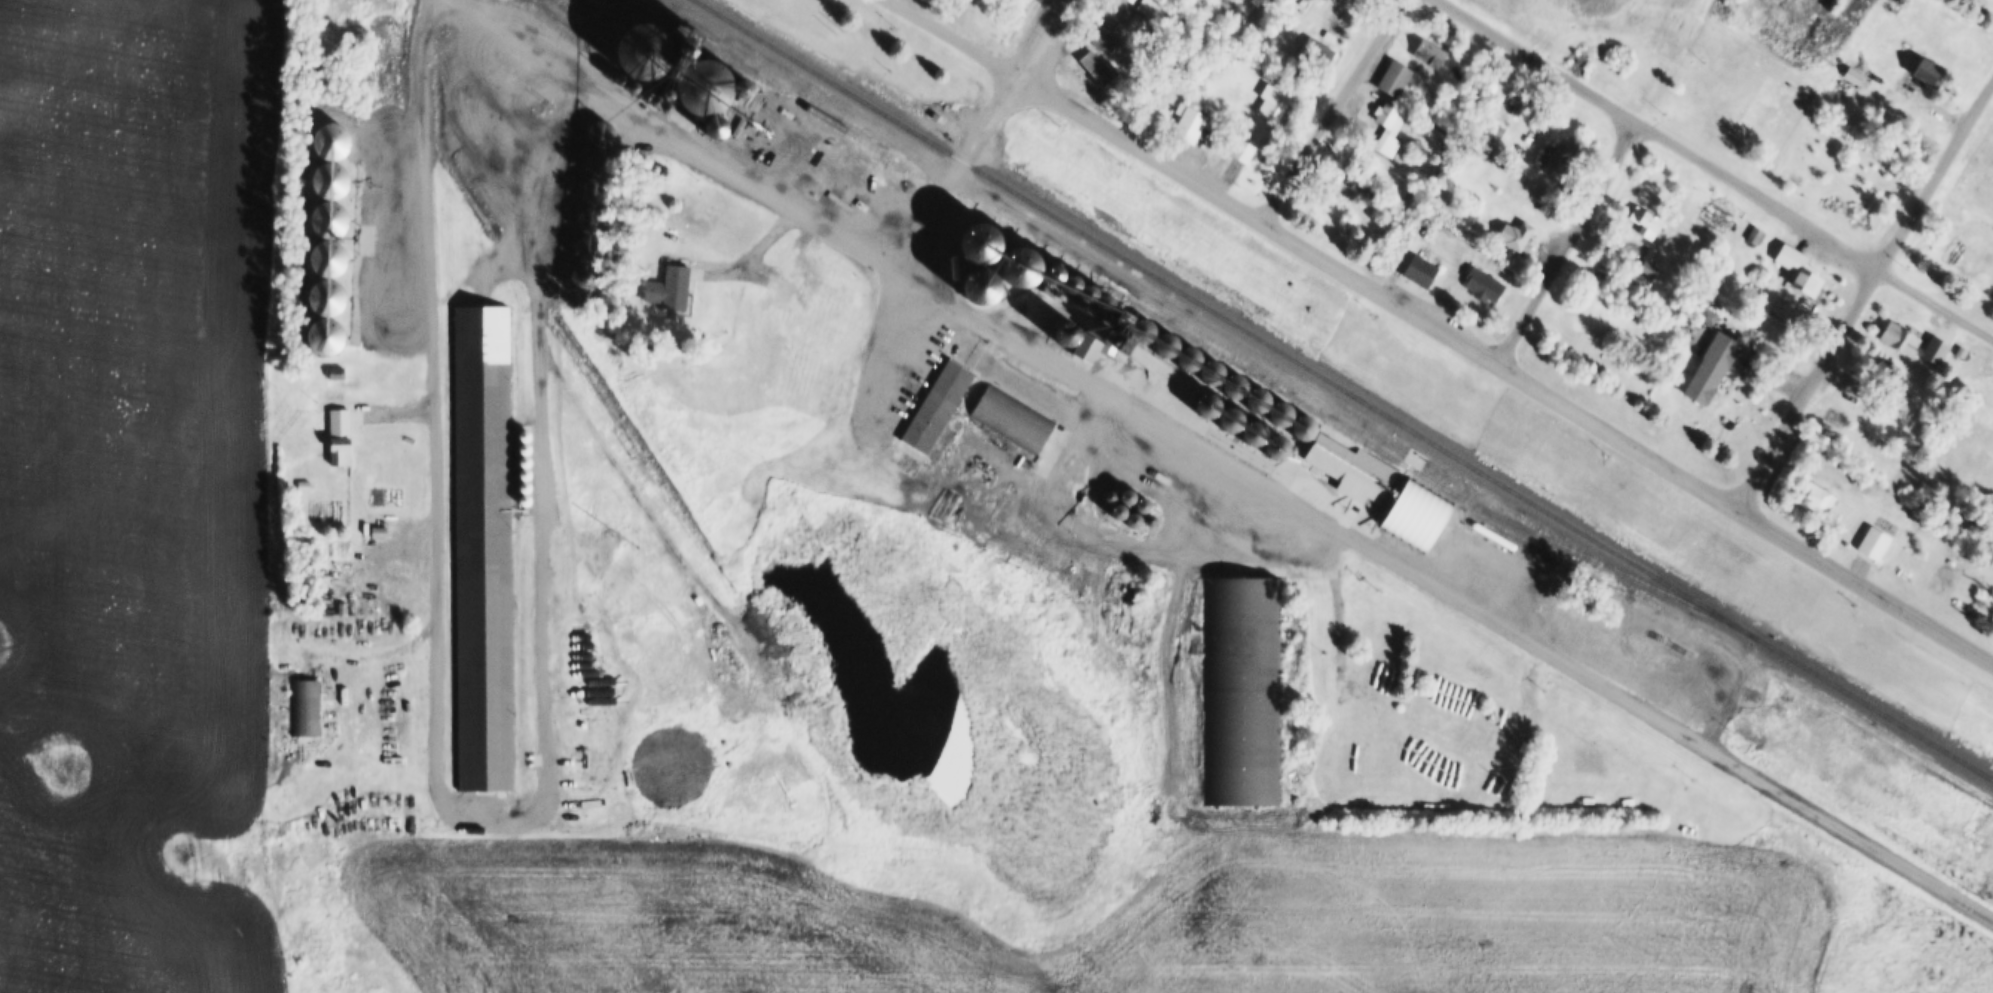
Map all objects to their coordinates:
building: (1128, 0)
building: (1149, 7)
building: (684, 36)
building: (1100, 37)
building: (1314, 48)
building: (634, 49)
silo: (634, 49)
building: (1427, 49)
building: (1096, 65)
building: (1921, 68)
building: (1851, 72)
building: (1392, 76)
building: (1484, 84)
building: (698, 88)
silo: (698, 88)
building: (739, 89)
silo: (739, 89)
building: (1149, 91)
building: (652, 92)
silo: (652, 92)
building: (1270, 101)
building: (661, 102)
silo: (661, 102)
road: (1329, 109)
building: (1186, 121)
building: (1385, 125)
building: (1495, 126)
building: (762, 129)
silo: (762, 129)
building: (712, 130)
silo: (712, 130)
building: (602, 132)
silo: (602, 132)
road: (975, 134)
building: (331, 139)
silo: (331, 139)
building: (1917, 143)
building: (1561, 145)
building: (1241, 148)
building: (598, 160)
silo: (598, 160)
road: (1713, 170)
building: (330, 178)
silo: (330, 178)
building: (1357, 180)
building: (595, 189)
silo: (595, 189)
road: (557, 198)
building: (329, 217)
silo: (329, 217)
building: (591, 218)
silo: (591, 218)
building: (1643, 220)
building: (1753, 232)
building: (1513, 233)
road: (1562, 238)
building: (588, 247)
silo: (588, 247)
building: (328, 256)
silo: (328, 256)
road: (368, 258)
building: (1648, 265)
building: (1419, 267)
building: (1795, 267)
building: (978, 268)
silo: (978, 268)
building: (584, 276)
silo: (584, 276)
building: (1019, 280)
silo: (1019, 280)
building: (1481, 281)
building: (1058, 282)
silo: (1058, 282)
building: (666, 286)
road: (1864, 288)
building: (1074, 291)
silo: (1074, 291)
building: (327, 295)
silo: (327, 295)
building: (1093, 304)
silo: (1093, 304)
building: (1706, 315)
road: (1441, 326)
building: (1064, 329)
silo: (1064, 329)
building: (1139, 329)
silo: (1139, 329)
railway: (1183, 332)
building: (325, 335)
silo: (325, 335)
building: (1897, 336)
building: (1107, 337)
building: (1162, 342)
silo: (1162, 342)
building: (1931, 347)
building: (1081, 350)
building: (1185, 355)
silo: (1185, 355)
building: (1707, 366)
building: (1883, 369)
building: (335, 370)
building: (1208, 370)
silo: (1208, 370)
building: (1231, 384)
silo: (1231, 384)
railway: (1343, 389)
building: (1256, 398)
silo: (1256, 398)
building: (935, 402)
building: (1199, 403)
silo: (1199, 403)
road: (433, 406)
building: (1278, 412)
silo: (1278, 412)
building: (1012, 413)
building: (1222, 417)
silo: (1222, 417)
road: (865, 418)
building: (1300, 425)
silo: (1300, 425)
building: (524, 429)
silo: (524, 429)
building: (1246, 432)
silo: (1246, 432)
building: (337, 434)
building: (524, 442)
silo: (524, 442)
building: (1269, 445)
silo: (1269, 445)
building: (523, 455)
silo: (523, 455)
road: (1228, 458)
building: (1347, 463)
building: (523, 468)
silo: (523, 468)
building: (523, 481)
silo: (523, 481)
building: (523, 494)
silo: (523, 494)
building: (1111, 494)
silo: (1111, 494)
building: (1126, 494)
silo: (1126, 494)
building: (1812, 495)
building: (1141, 503)
silo: (1141, 503)
building: (1117, 510)
silo: (1117, 510)
building: (1413, 510)
building: (367, 516)
building: (1146, 518)
silo: (1146, 518)
building: (1132, 519)
silo: (1132, 519)
building: (377, 529)
road: (1117, 539)
building: (1870, 541)
building: (481, 545)
road: (1332, 587)
road: (367, 654)
building: (1241, 687)
building: (305, 705)

